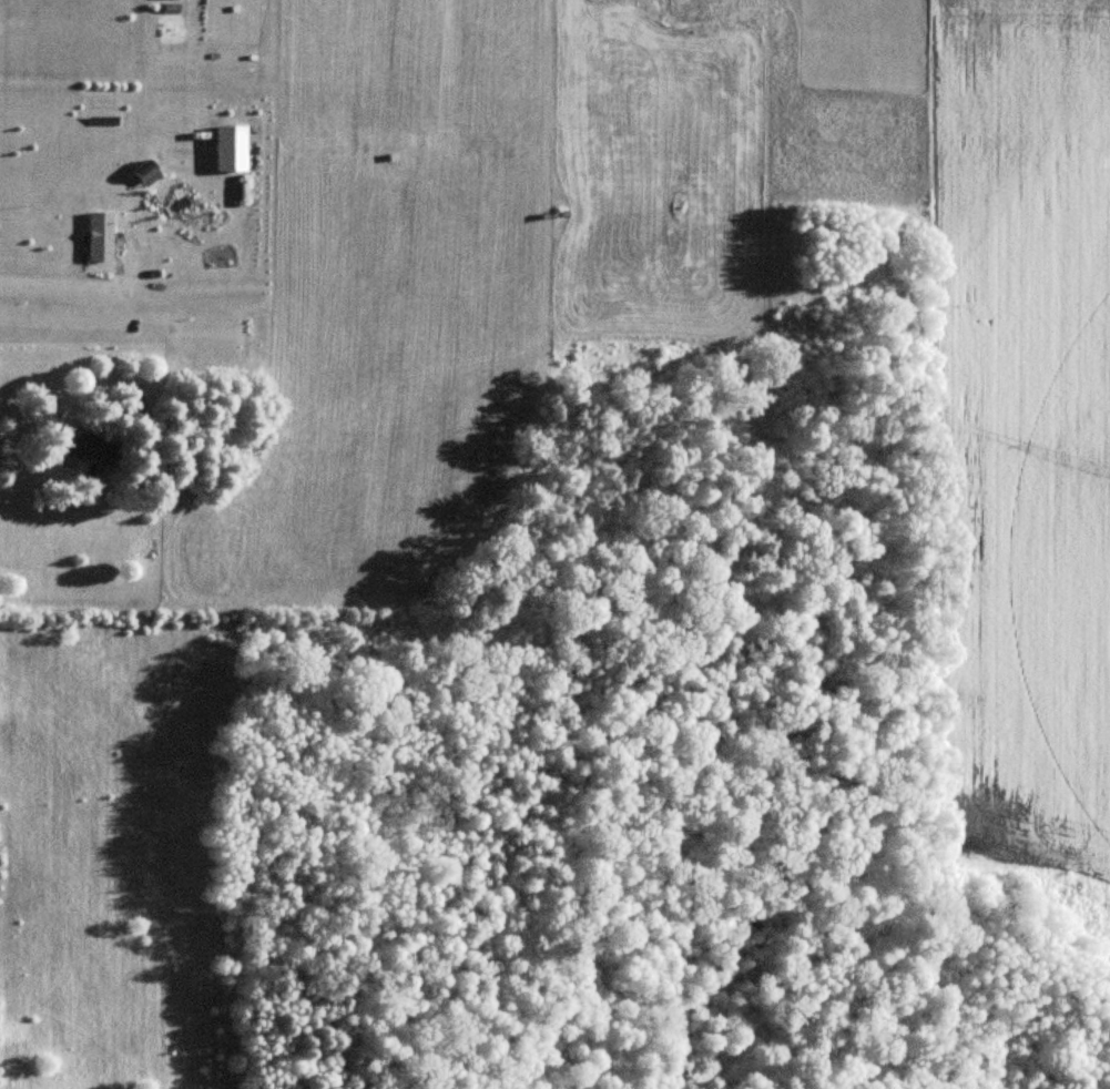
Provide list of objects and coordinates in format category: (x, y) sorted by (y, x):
building: (408, 170)
building: (98, 237)
road: (39, 281)
building: (129, 400)
building: (91, 449)
road: (48, 512)

